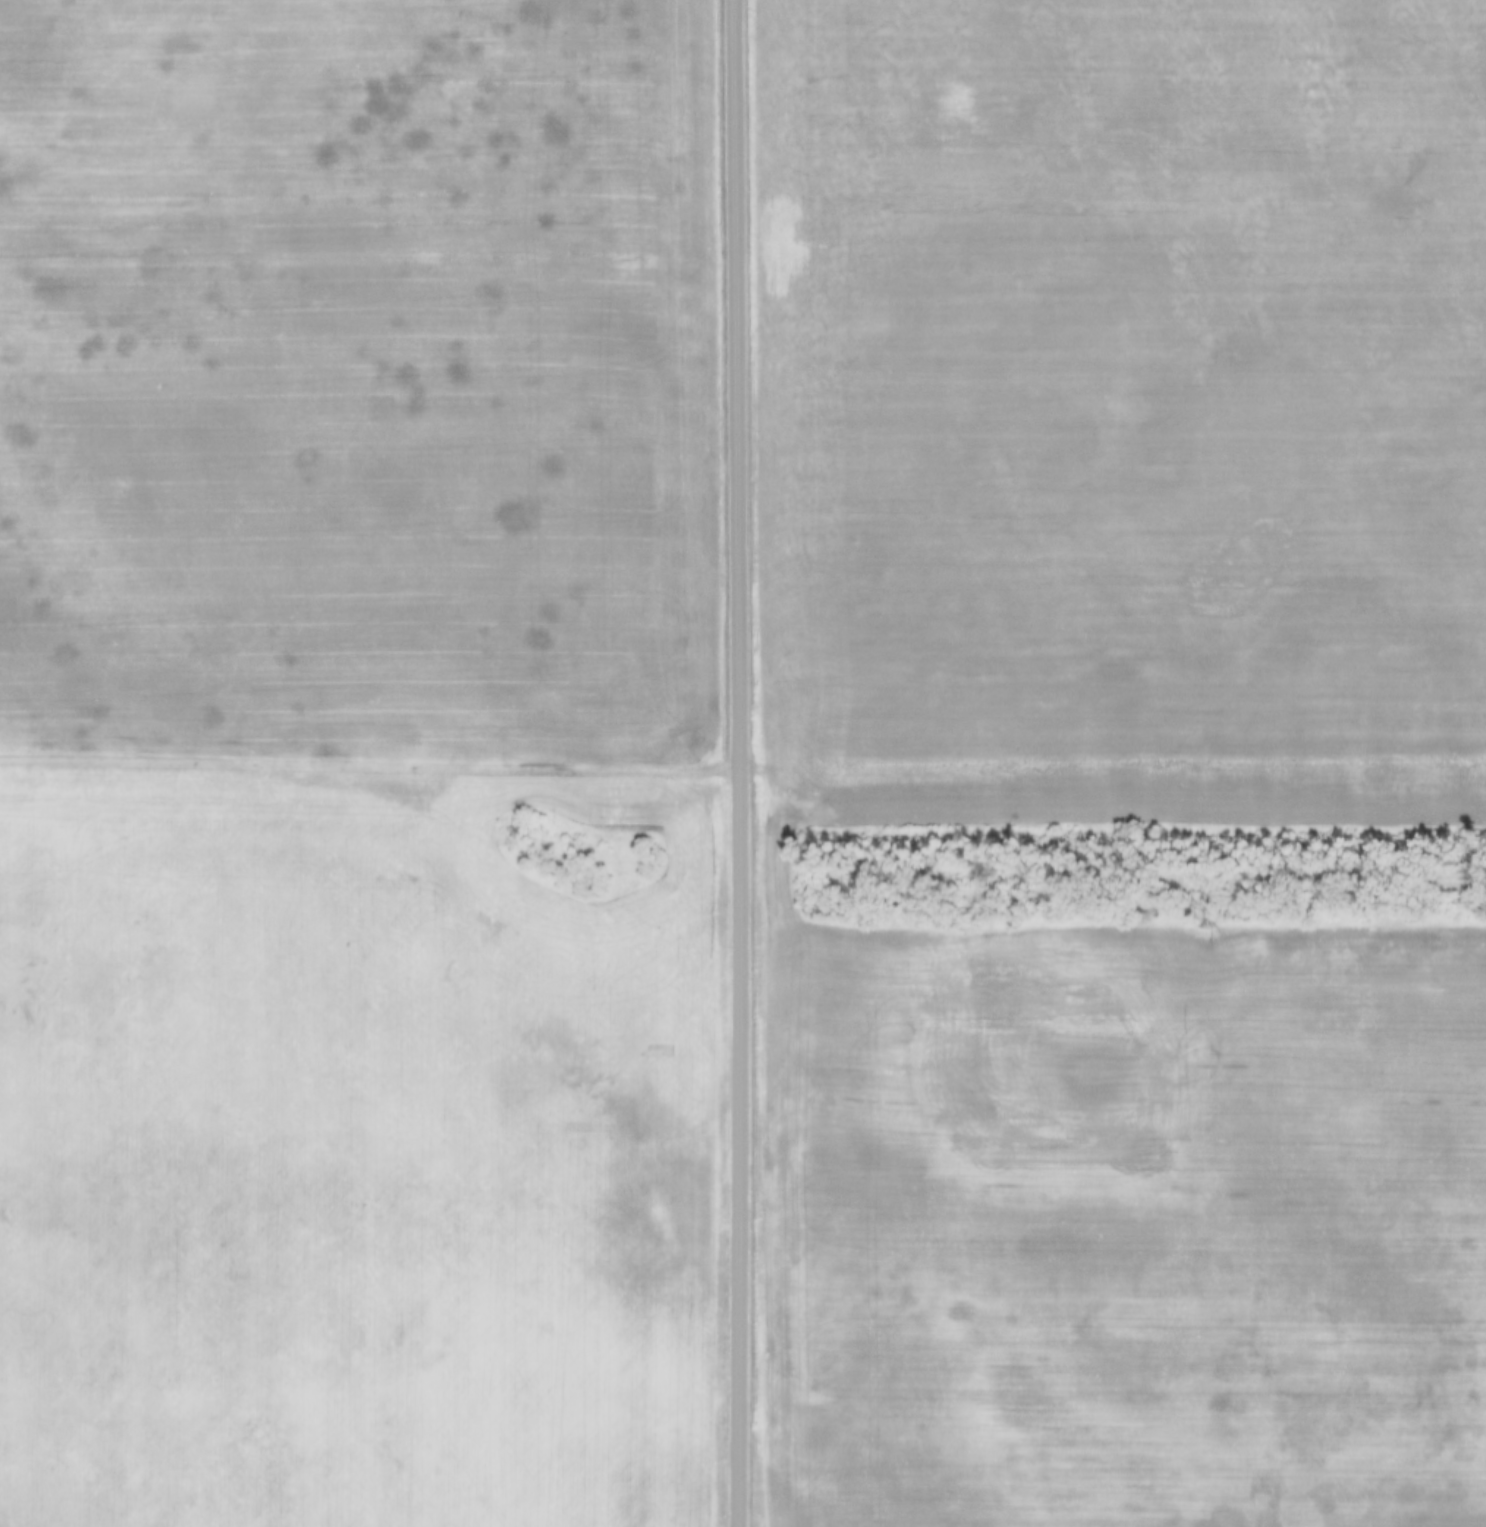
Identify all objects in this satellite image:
road: (738, 763)
road: (743, 765)

